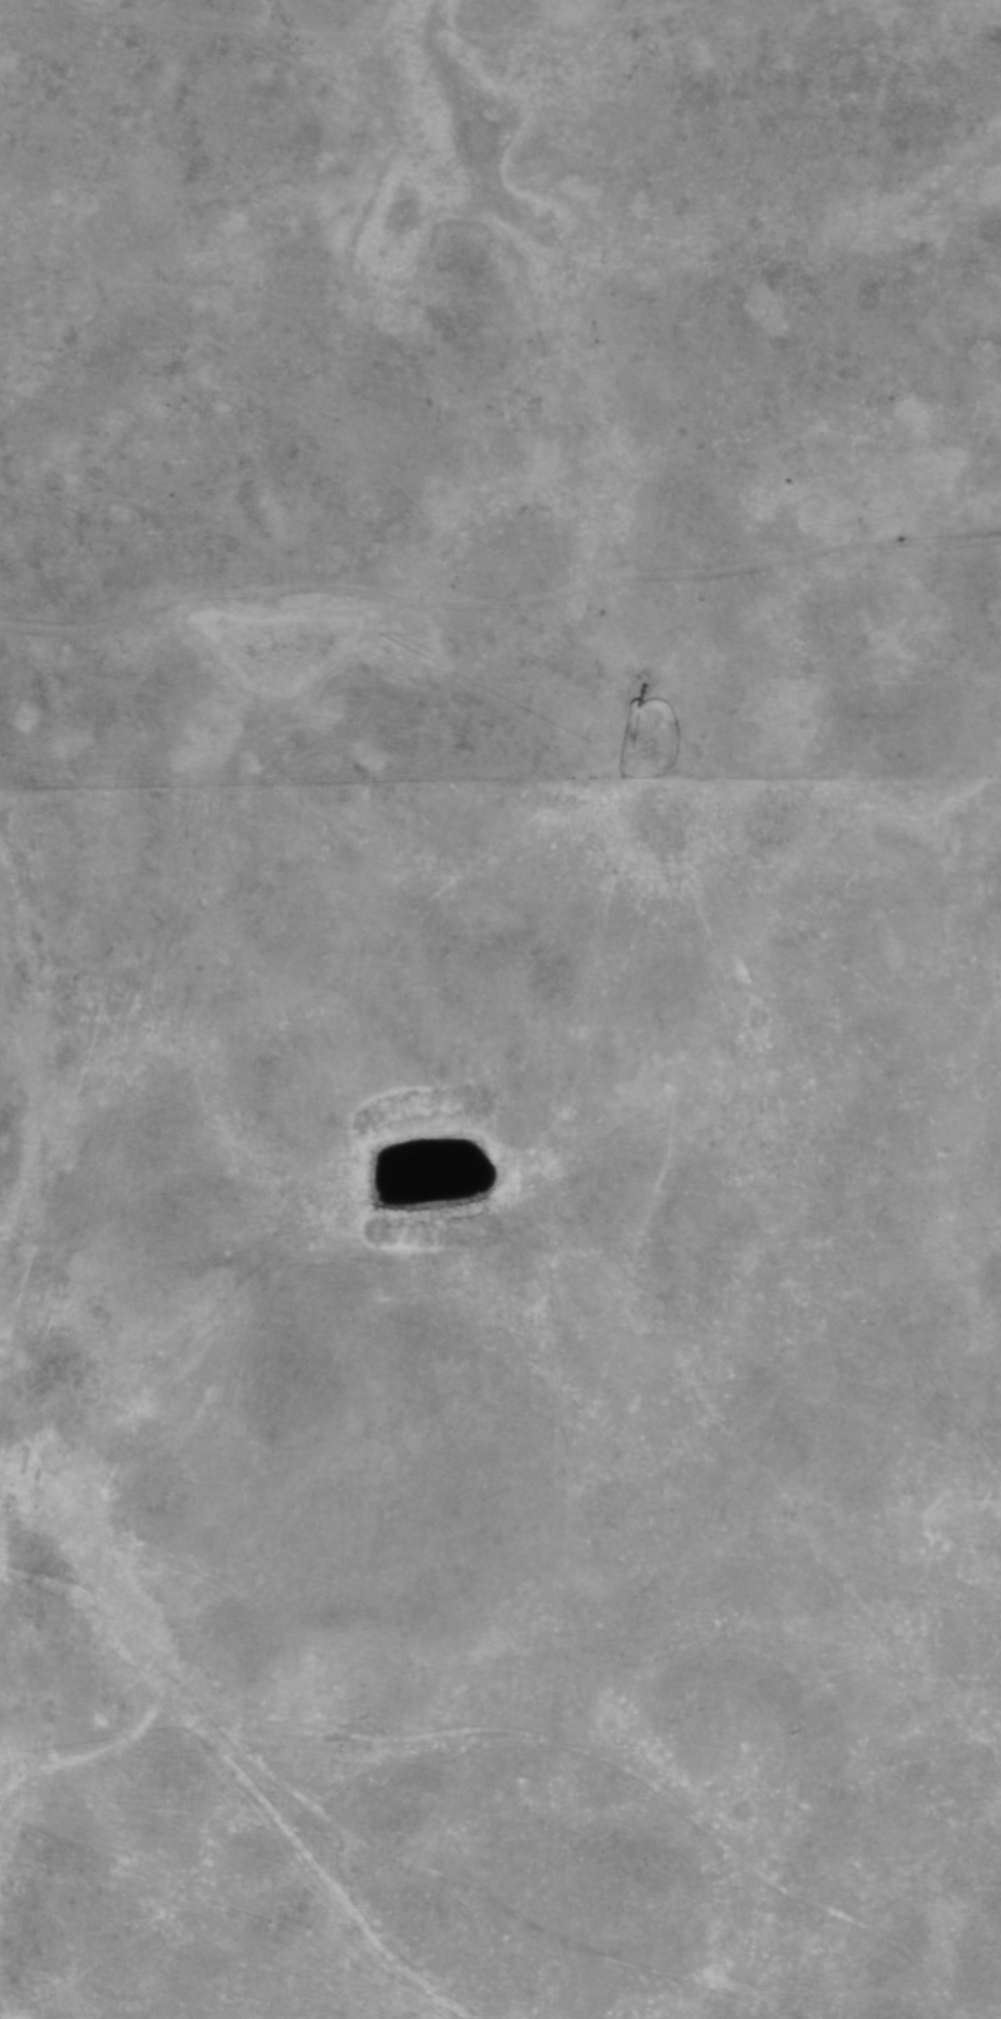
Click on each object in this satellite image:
road: (499, 602)
road: (416, 1784)

